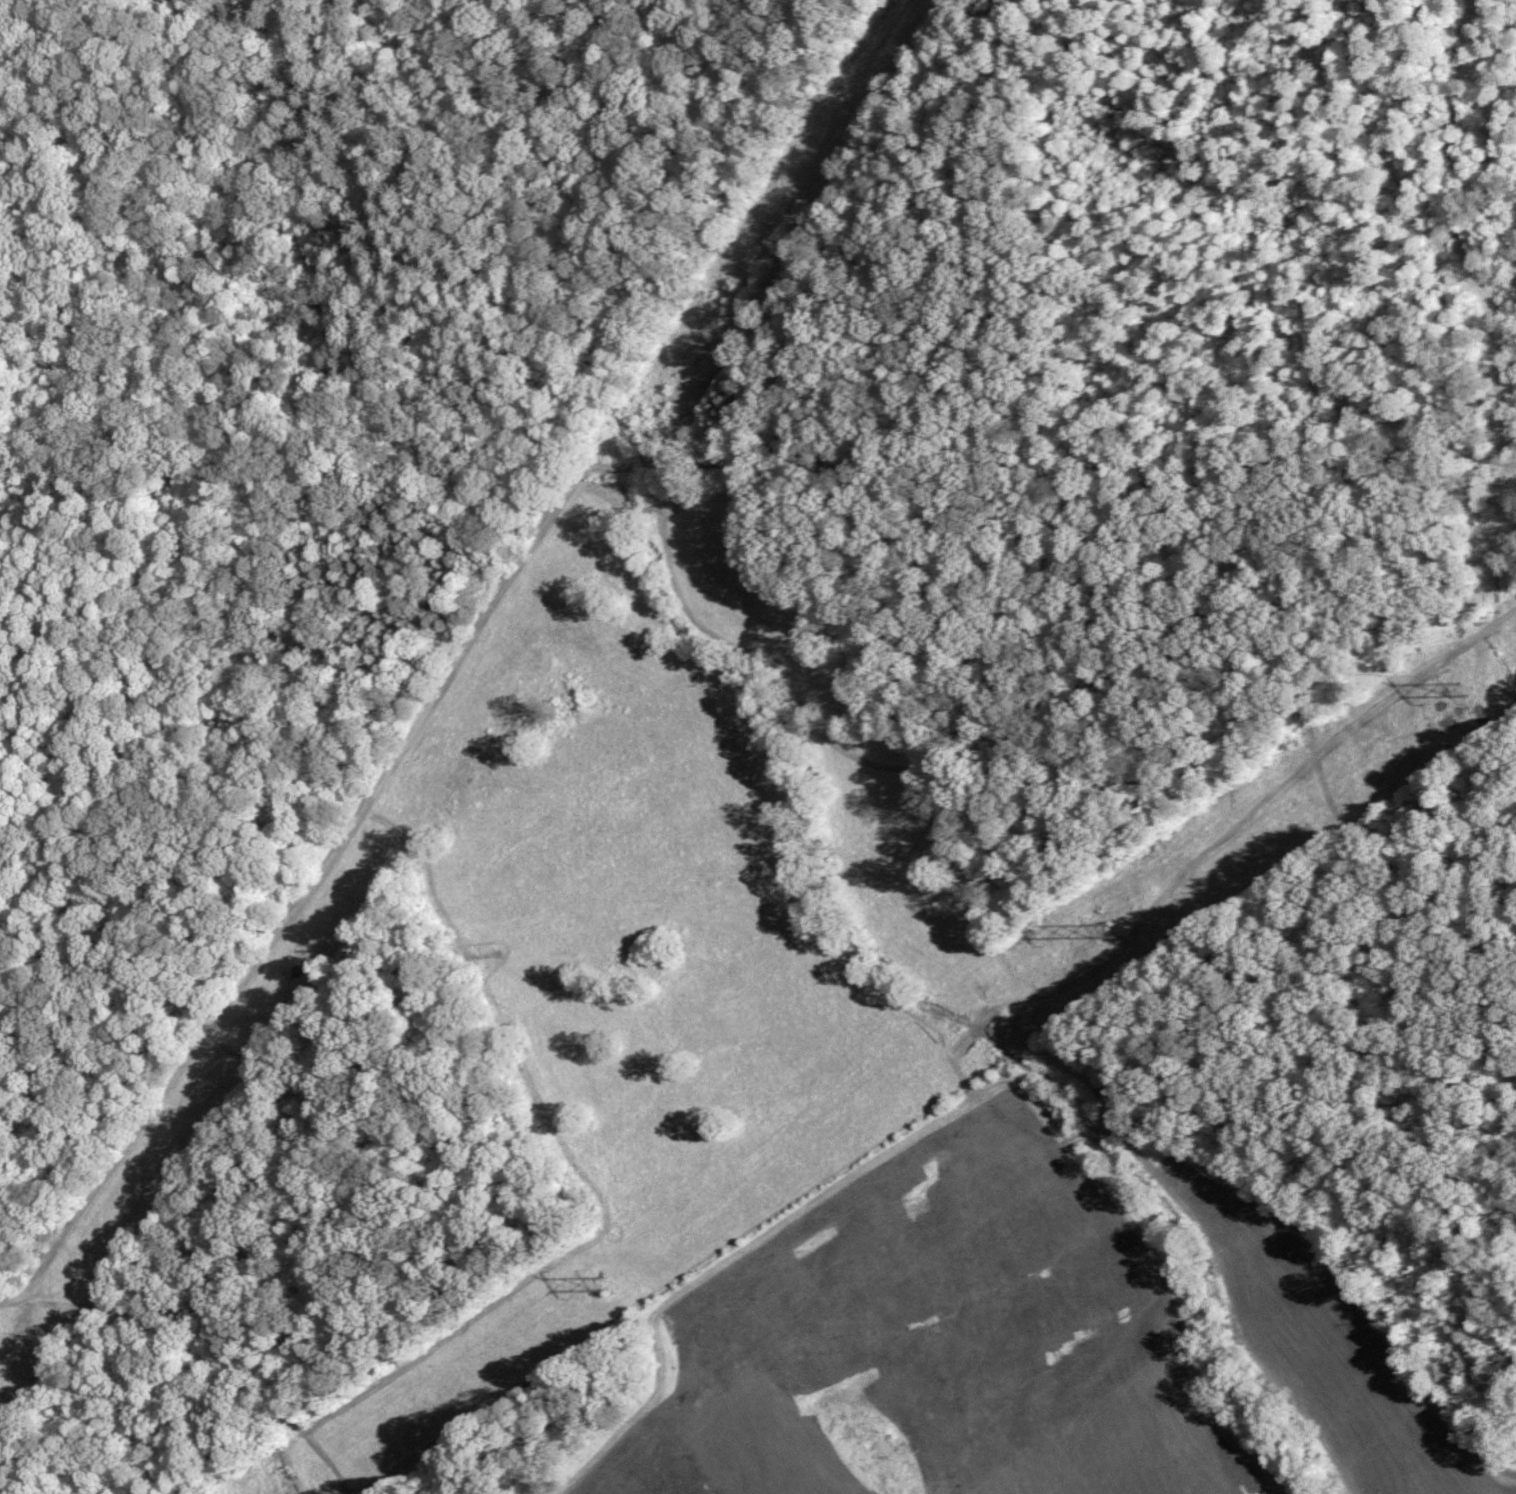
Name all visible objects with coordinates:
road: (1453, 457)
power tower: (1459, 687)
road: (708, 858)
power tower: (1111, 929)
power tower: (600, 1280)
road: (202, 1338)

